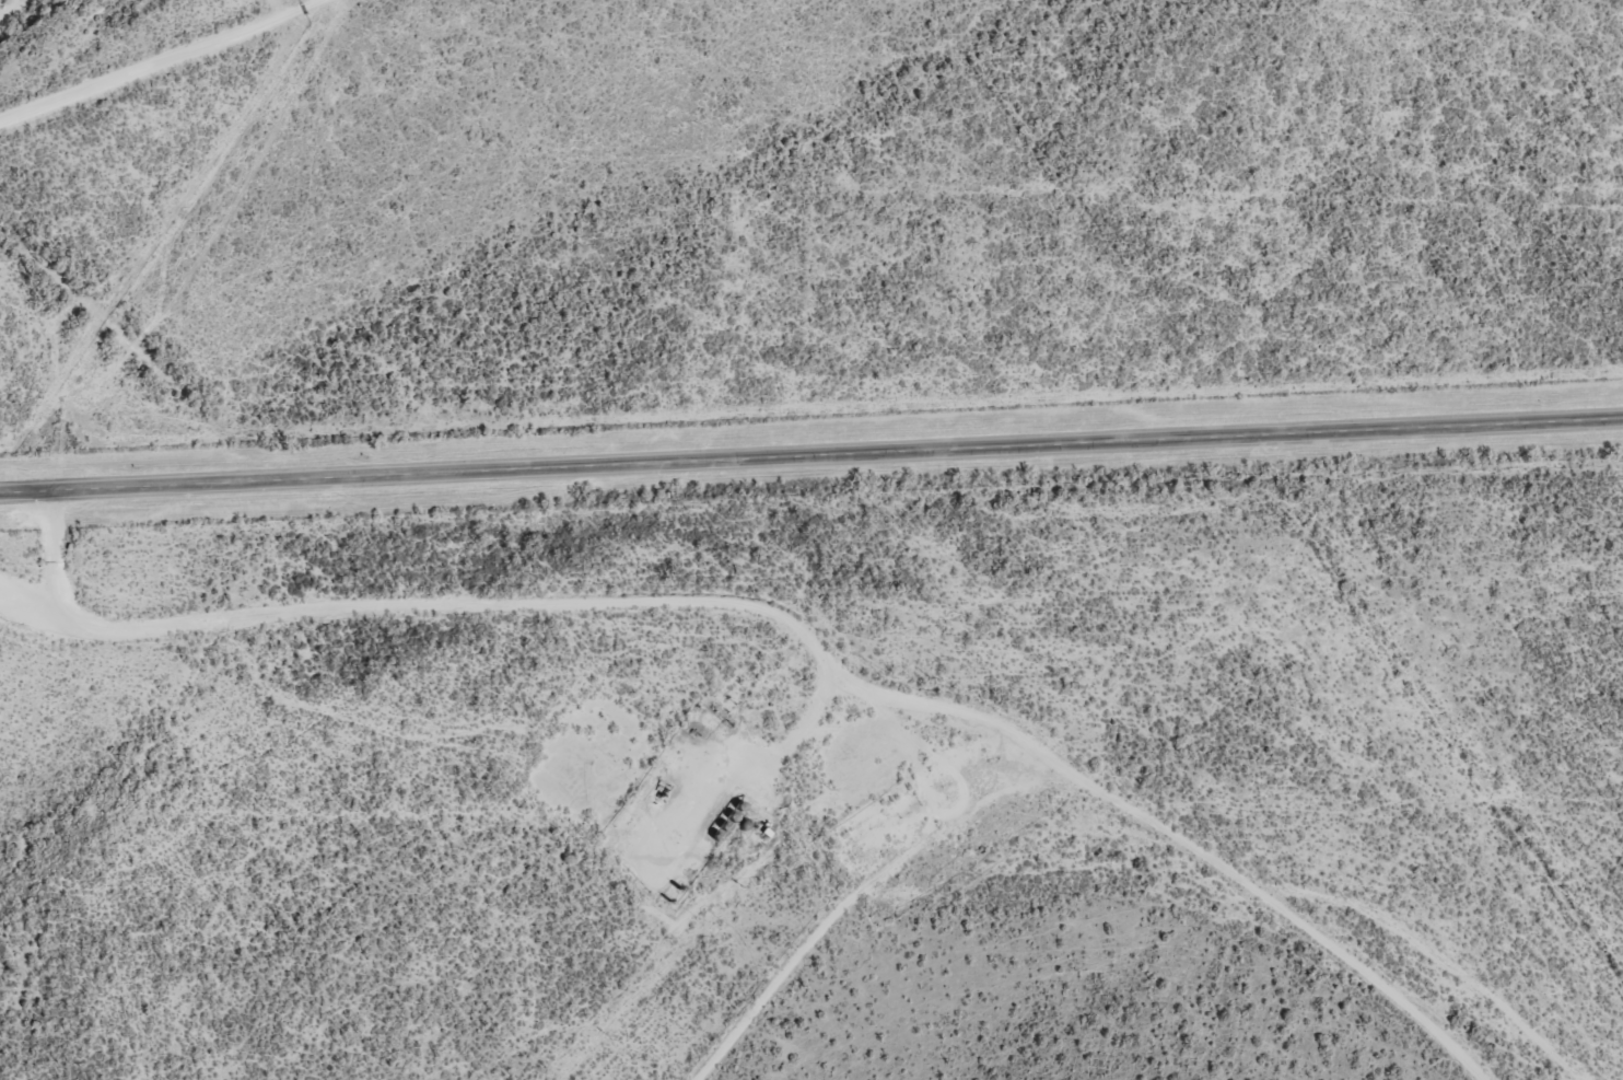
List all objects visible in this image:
road: (188, 81)
road: (811, 452)

